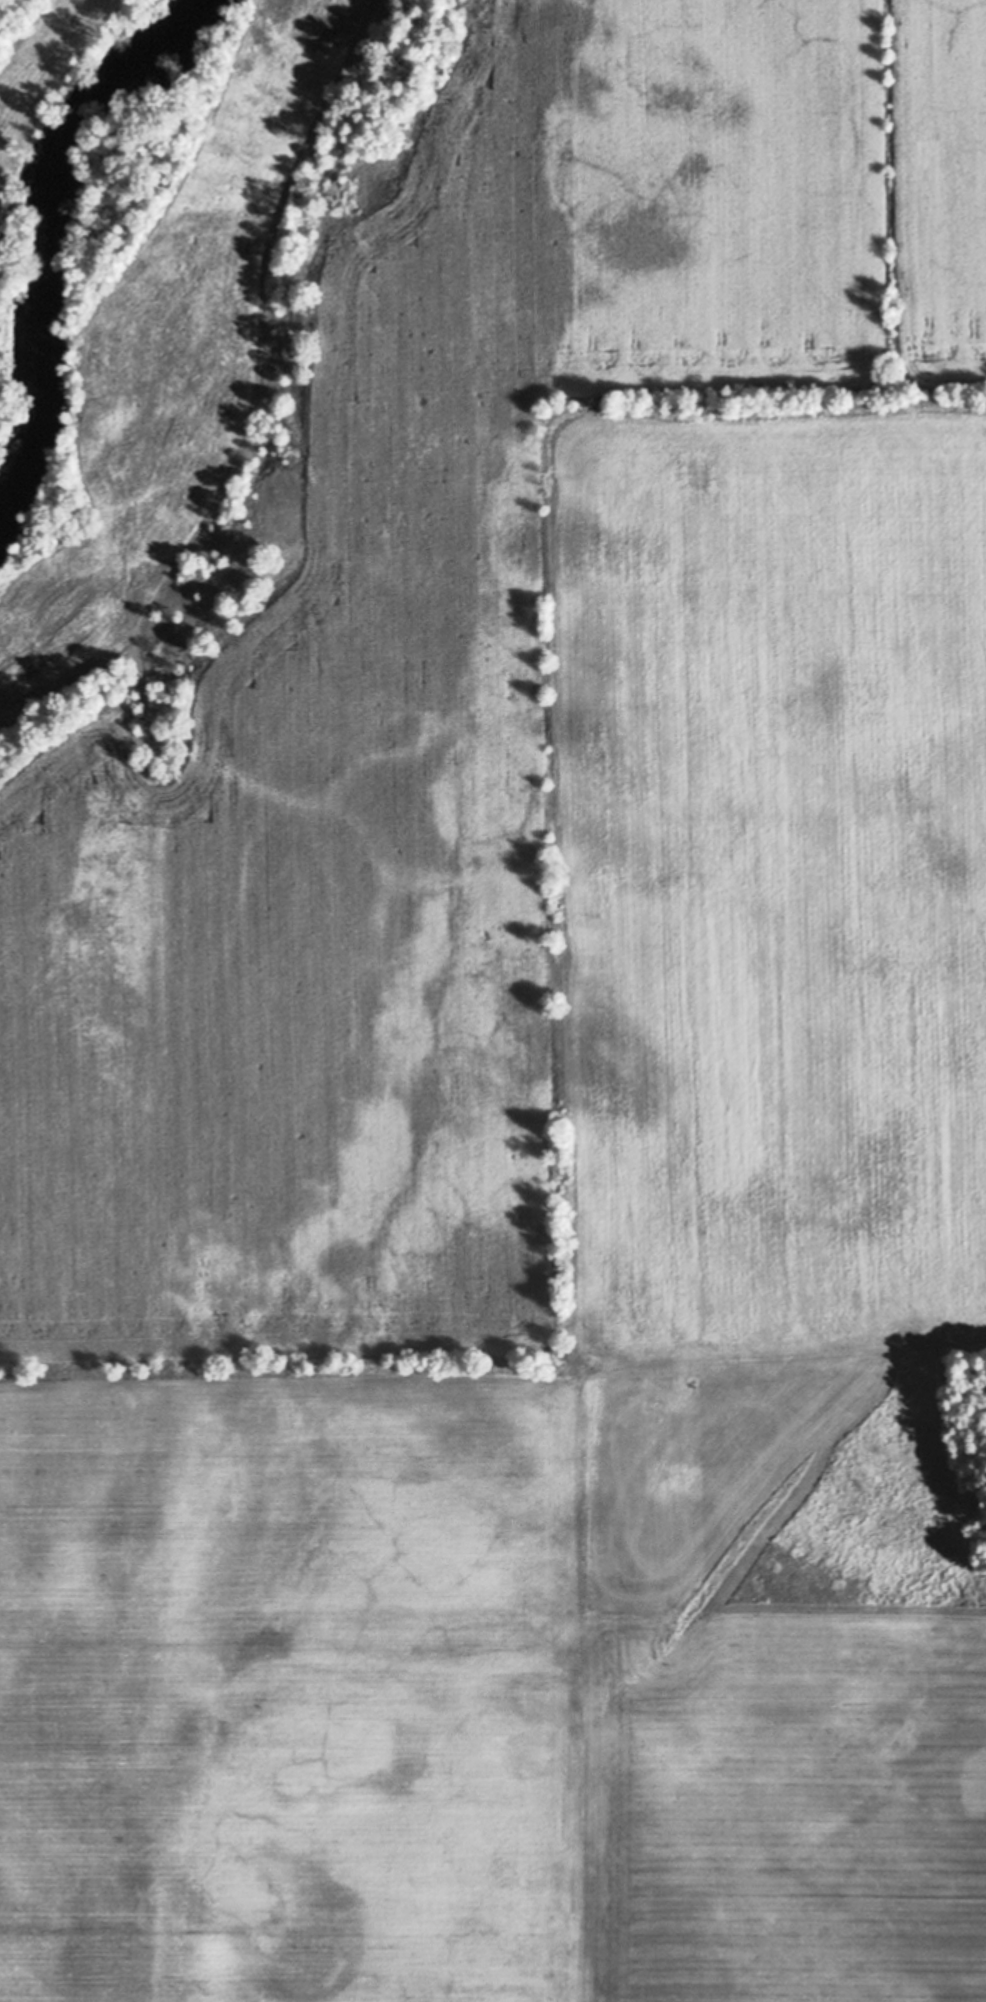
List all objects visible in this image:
river: (52, 247)

